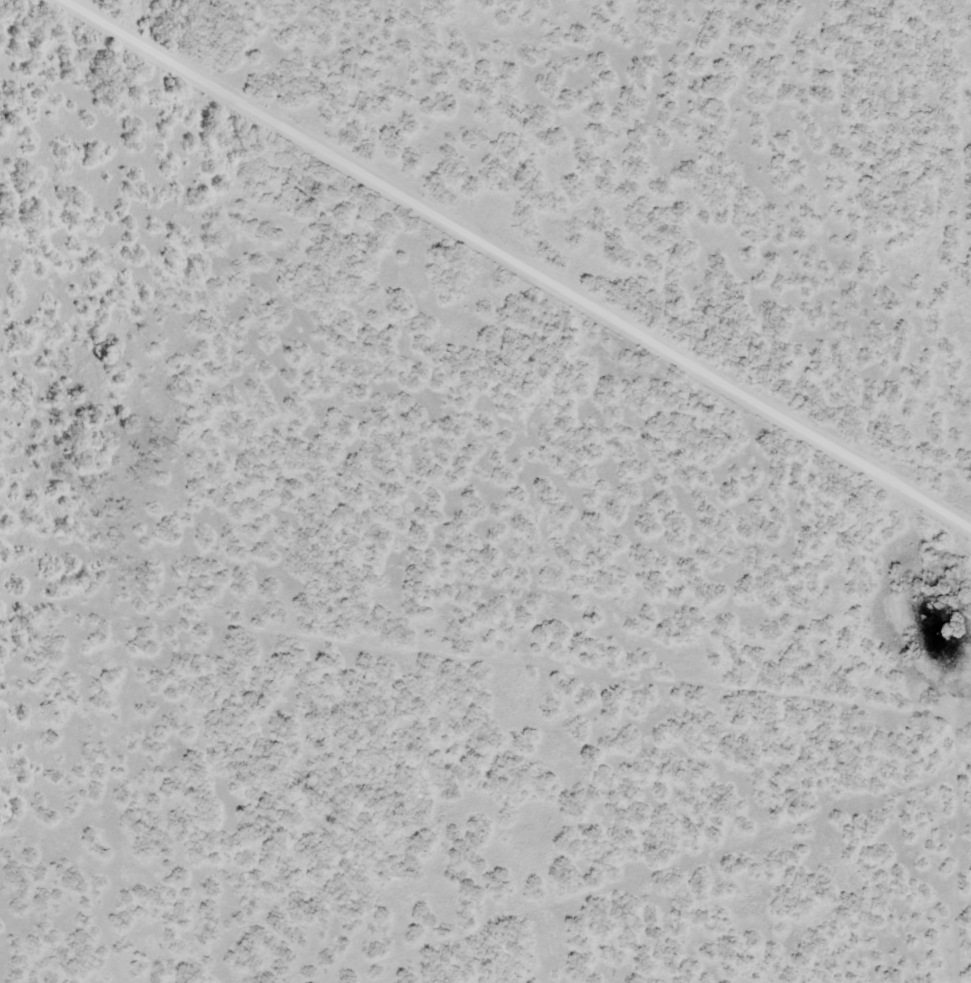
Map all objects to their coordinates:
road: (487, 286)
road: (778, 290)

